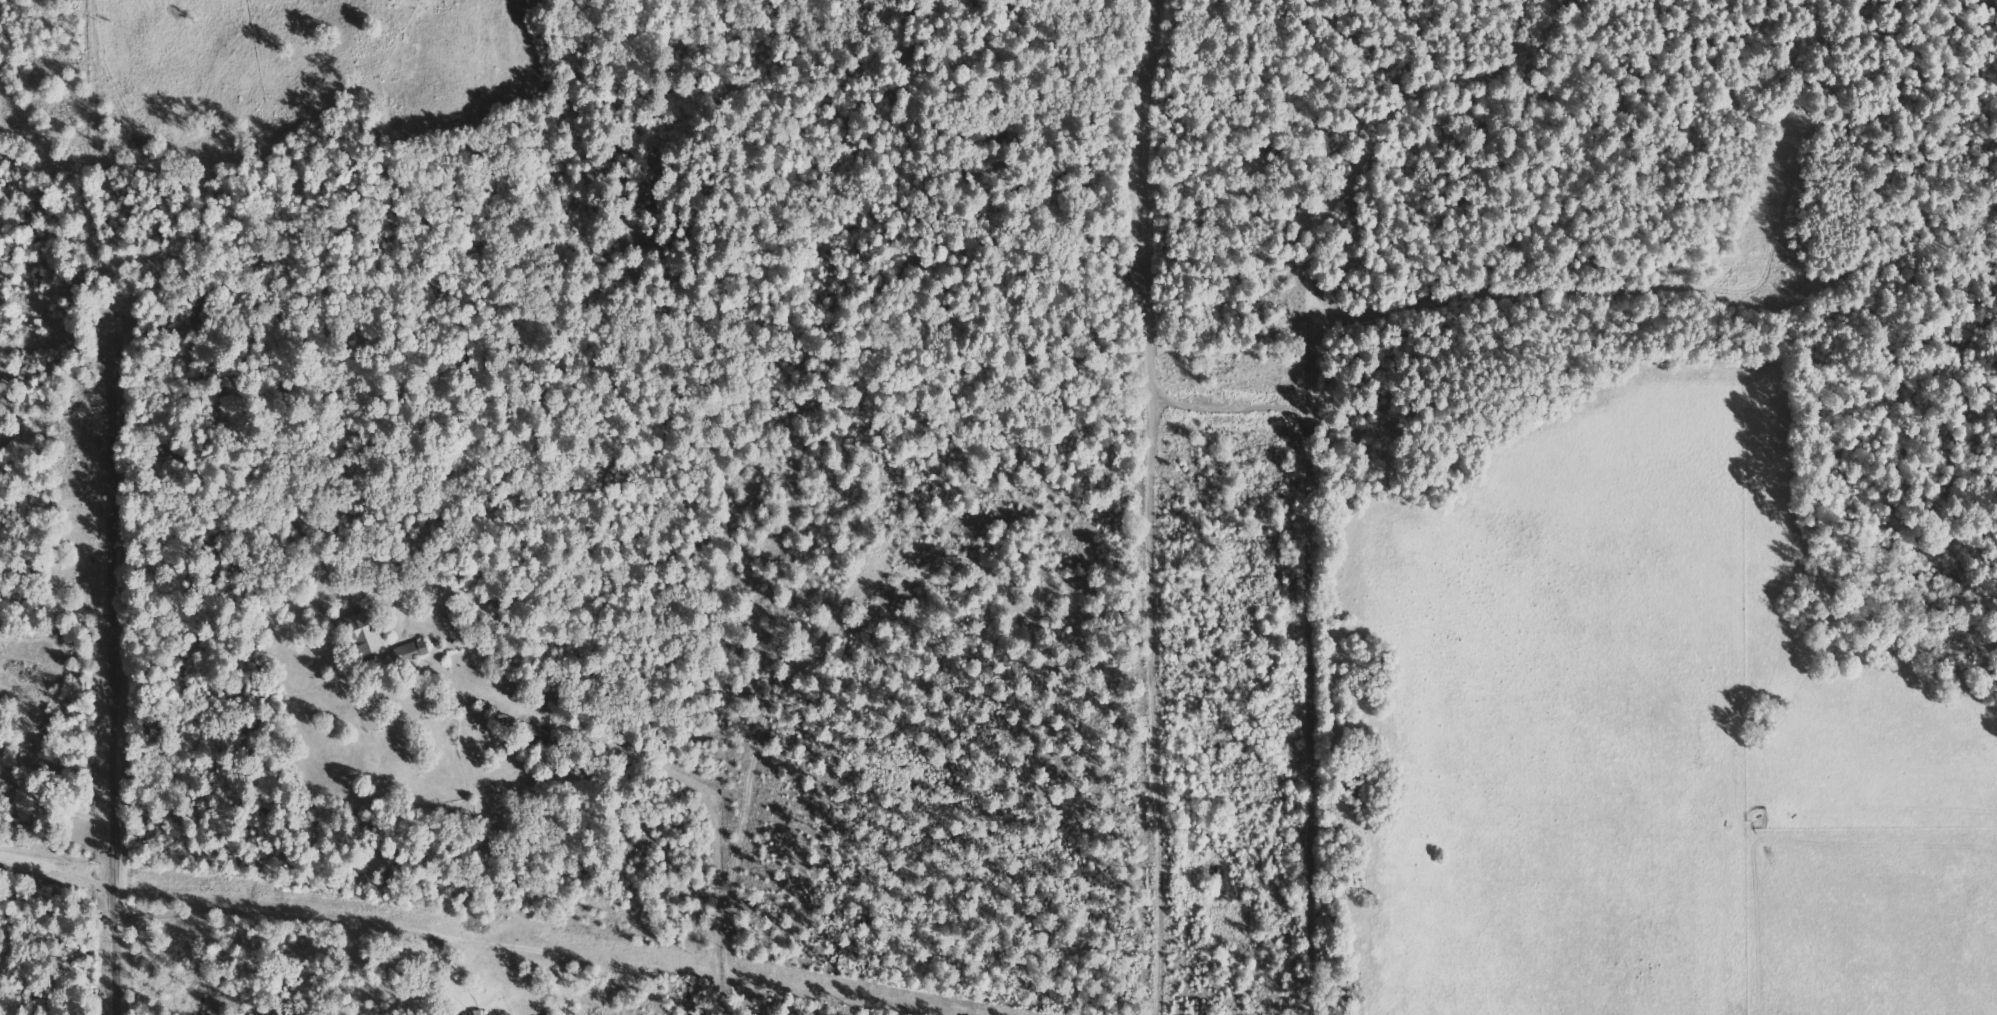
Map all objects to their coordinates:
building: (361, 638)
building: (409, 652)
road: (119, 665)
road: (58, 806)
building: (475, 1012)

